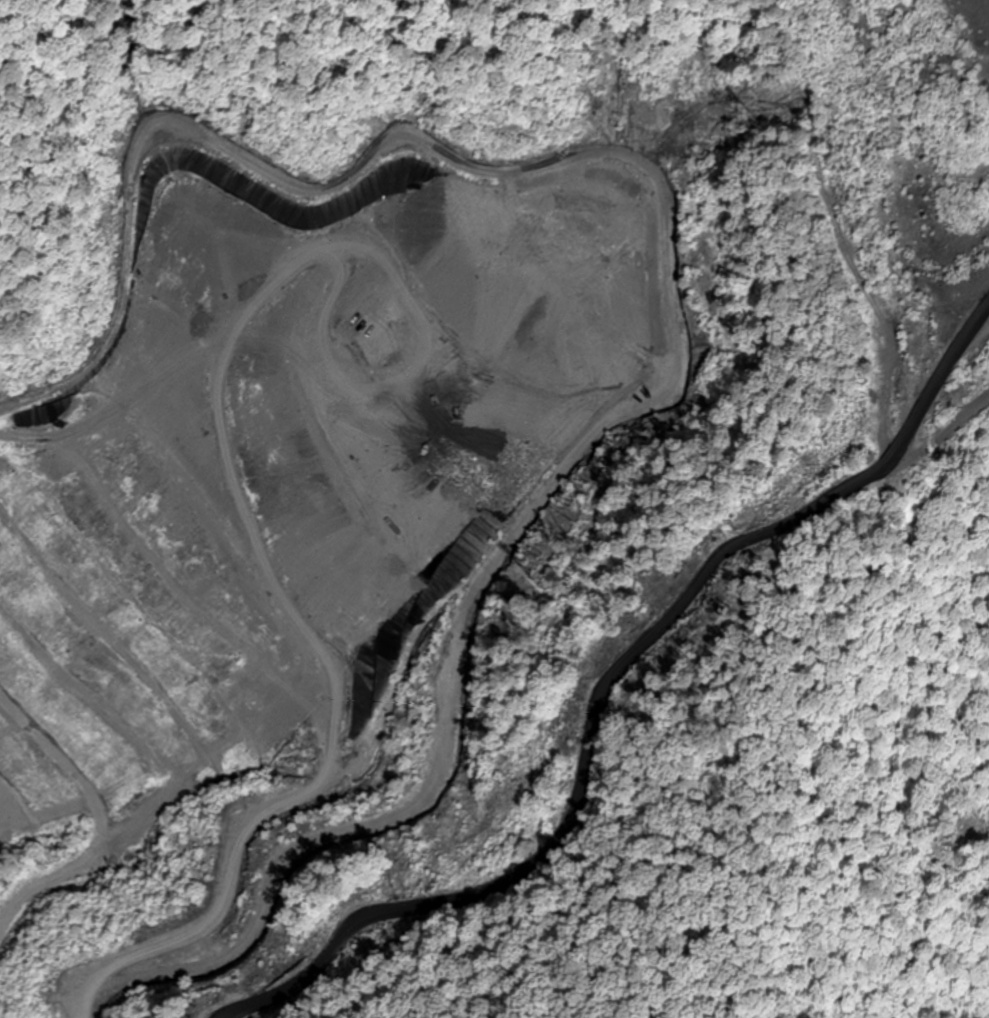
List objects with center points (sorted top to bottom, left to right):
road: (596, 704)

